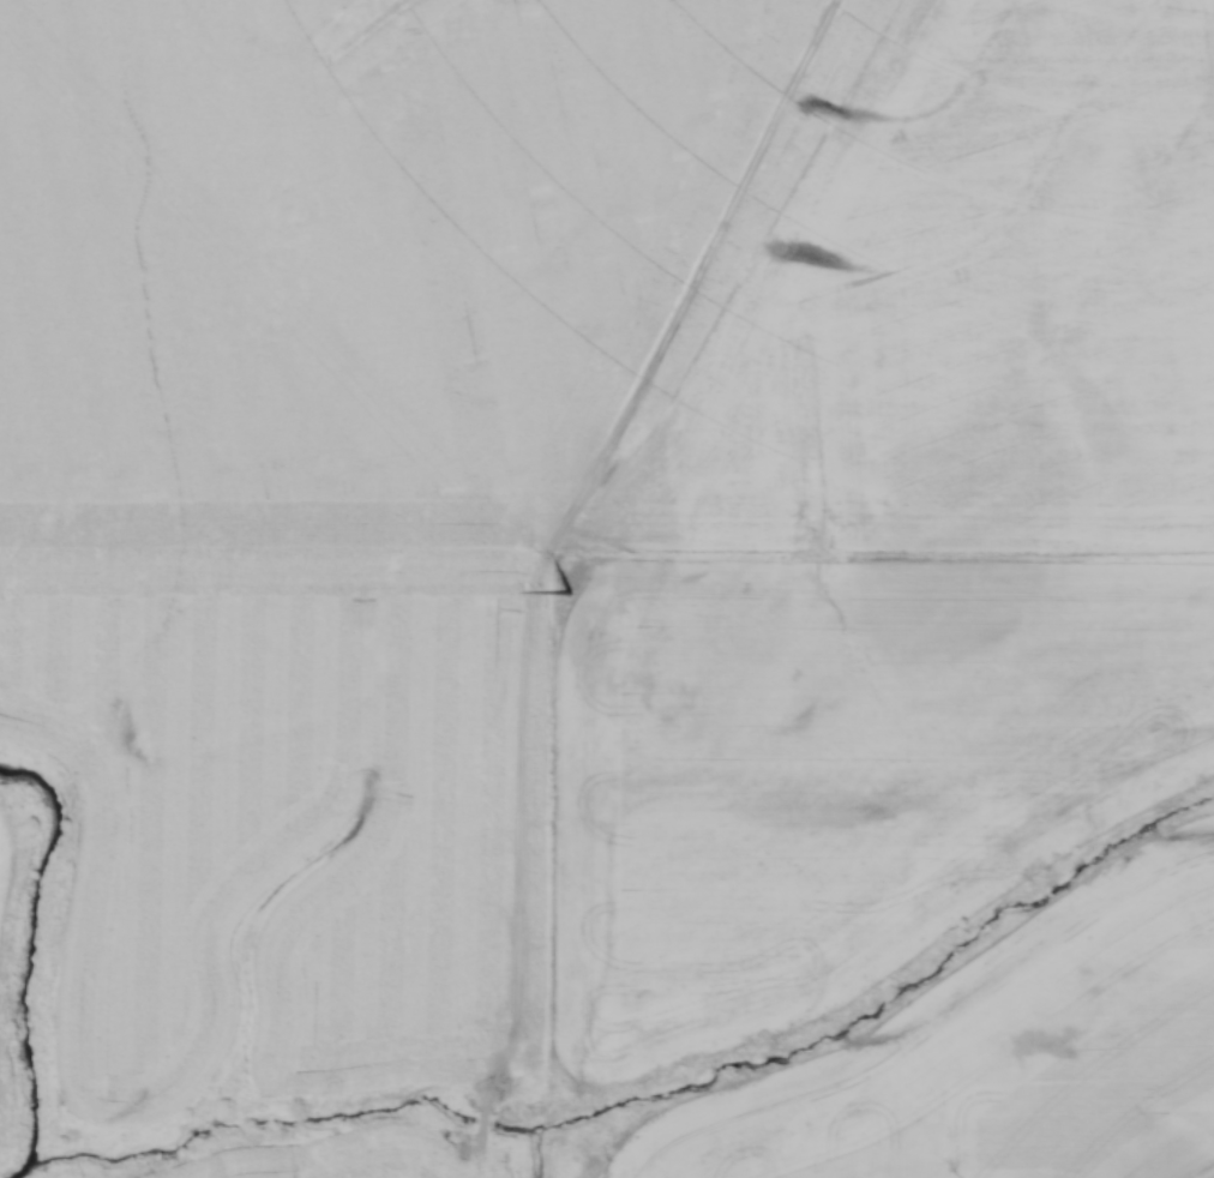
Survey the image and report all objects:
power tower: (570, 596)

